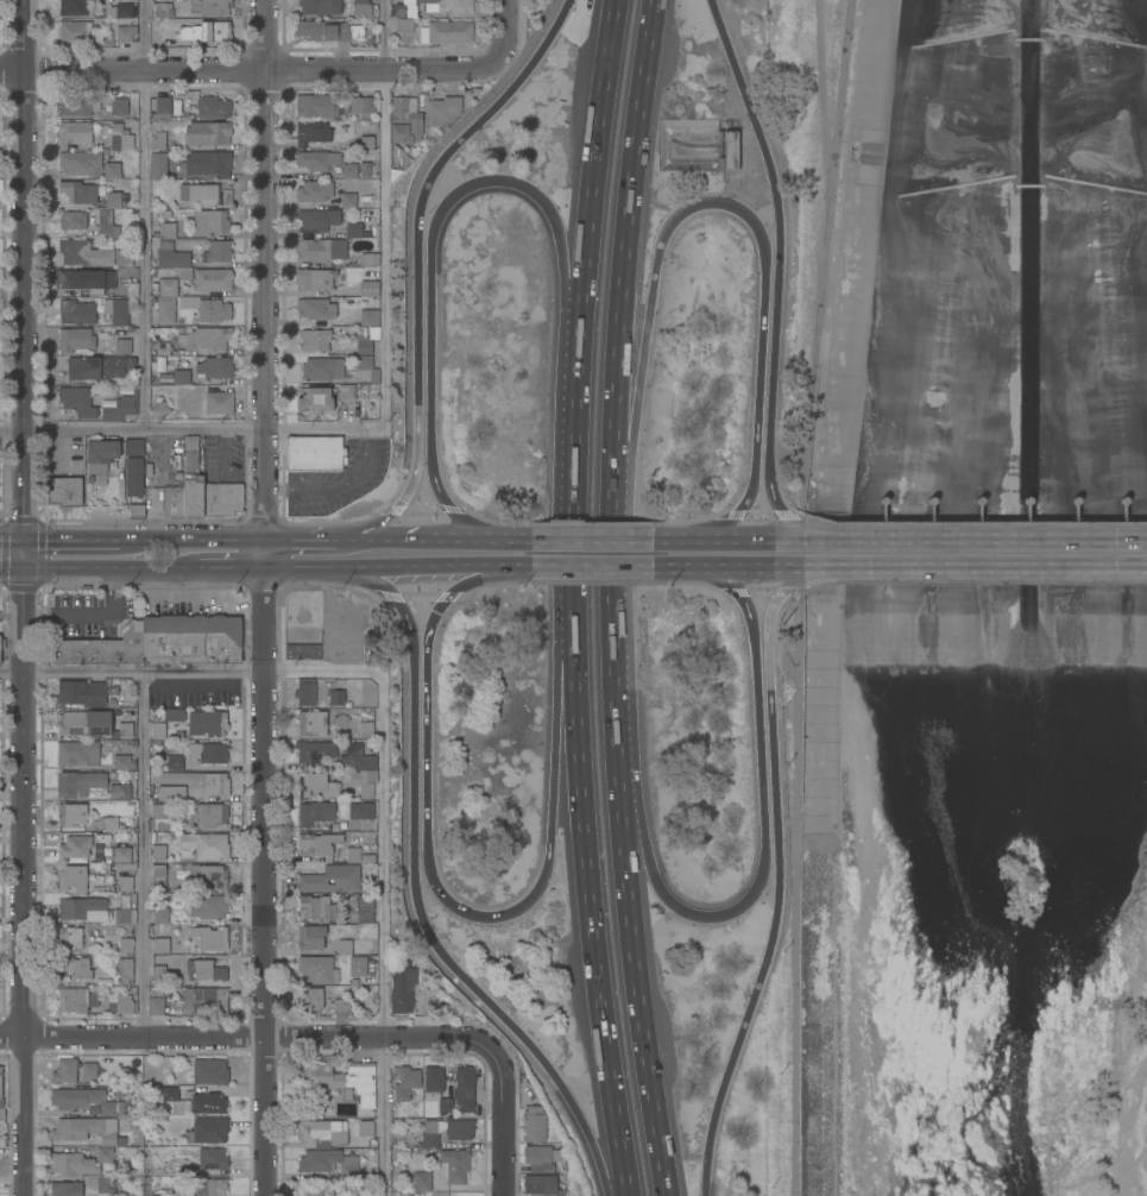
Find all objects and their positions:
building: (74, 6)
building: (204, 6)
building: (319, 6)
building: (427, 6)
building: (361, 7)
building: (160, 8)
building: (119, 10)
building: (403, 25)
road: (504, 27)
building: (328, 30)
building: (207, 31)
building: (446, 31)
building: (78, 32)
building: (124, 33)
road: (251, 71)
building: (77, 103)
building: (320, 105)
building: (119, 106)
building: (212, 106)
building: (363, 106)
building: (160, 108)
building: (442, 109)
building: (405, 120)
building: (207, 132)
building: (310, 132)
building: (73, 133)
building: (121, 138)
building: (157, 140)
road: (598, 140)
building: (366, 141)
building: (731, 149)
building: (316, 159)
building: (397, 160)
building: (80, 162)
building: (207, 163)
building: (158, 165)
building: (112, 170)
building: (347, 170)
building: (365, 170)
building: (313, 190)
building: (80, 191)
building: (204, 194)
building: (113, 199)
building: (348, 200)
road: (140, 215)
road: (383, 215)
building: (73, 220)
building: (316, 220)
road: (626, 220)
building: (209, 221)
building: (106, 224)
building: (168, 229)
building: (353, 229)
building: (321, 248)
building: (216, 251)
building: (83, 252)
road: (782, 253)
building: (171, 254)
building: (124, 258)
building: (368, 259)
road: (415, 265)
road: (264, 270)
building: (212, 278)
building: (315, 278)
road: (430, 278)
building: (84, 279)
building: (166, 287)
building: (367, 289)
road: (762, 295)
building: (208, 308)
building: (314, 308)
building: (164, 309)
building: (76, 311)
building: (114, 311)
building: (368, 316)
building: (213, 338)
building: (75, 339)
building: (314, 339)
building: (366, 340)
building: (121, 346)
building: (163, 348)
building: (99, 367)
building: (214, 367)
building: (366, 367)
building: (321, 369)
road: (630, 372)
building: (181, 377)
building: (346, 391)
building: (314, 399)
building: (77, 401)
building: (219, 402)
building: (120, 408)
building: (159, 410)
road: (191, 430)
building: (132, 446)
building: (314, 453)
building: (100, 454)
road: (574, 470)
building: (133, 477)
building: (193, 478)
road: (336, 486)
building: (63, 491)
building: (221, 498)
building: (172, 501)
traffic signals: (19, 510)
building: (136, 511)
road: (21, 521)
road: (799, 529)
road: (10, 539)
traffic signals: (49, 539)
road: (69, 539)
road: (191, 539)
road: (300, 540)
road: (382, 540)
road: (452, 540)
road: (683, 540)
road: (503, 541)
road: (592, 541)
road: (744, 541)
road: (794, 542)
road: (981, 542)
road: (261, 553)
road: (2, 555)
road: (40, 555)
road: (591, 562)
road: (685, 562)
road: (745, 562)
road: (792, 562)
road: (978, 562)
road: (504, 564)
road: (424, 565)
road: (10, 566)
road: (108, 566)
road: (229, 566)
road: (315, 566)
road: (795, 577)
road: (20, 591)
traffic signals: (19, 597)
road: (803, 597)
road: (19, 598)
river: (1025, 598)
road: (88, 613)
building: (190, 638)
building: (2, 643)
road: (616, 644)
building: (100, 648)
building: (301, 651)
building: (305, 691)
building: (84, 692)
building: (335, 697)
building: (174, 715)
building: (311, 722)
building: (93, 723)
building: (206, 723)
building: (365, 729)
building: (165, 730)
road: (379, 742)
road: (563, 743)
building: (314, 750)
building: (206, 751)
building: (81, 753)
building: (358, 757)
building: (121, 762)
building: (170, 762)
building: (196, 781)
building: (363, 781)
building: (78, 782)
building: (316, 783)
road: (760, 786)
building: (119, 791)
building: (170, 793)
road: (426, 808)
building: (363, 812)
building: (70, 813)
building: (315, 813)
building: (210, 814)
building: (160, 817)
building: (111, 824)
building: (206, 845)
building: (75, 846)
building: (335, 846)
road: (141, 849)
building: (158, 851)
building: (121, 854)
road: (636, 861)
building: (204, 874)
building: (71, 876)
building: (328, 876)
road: (414, 876)
building: (158, 877)
road: (259, 881)
building: (125, 883)
road: (775, 896)
building: (363, 906)
building: (207, 907)
building: (316, 907)
building: (83, 908)
building: (124, 915)
building: (160, 915)
road: (597, 927)
building: (310, 937)
building: (69, 938)
building: (209, 938)
building: (125, 944)
building: (160, 945)
building: (344, 948)
building: (75, 967)
building: (358, 967)
building: (317, 969)
building: (203, 971)
building: (158, 972)
building: (116, 974)
building: (402, 990)
building: (71, 1000)
building: (191, 1001)
building: (319, 1001)
building: (121, 1005)
road: (644, 1020)
road: (242, 1030)
building: (130, 1066)
building: (64, 1070)
building: (89, 1070)
building: (209, 1071)
building: (341, 1079)
building: (433, 1079)
building: (464, 1089)
building: (405, 1094)
building: (75, 1096)
building: (1, 1099)
building: (175, 1100)
building: (208, 1103)
building: (111, 1107)
building: (445, 1108)
road: (500, 1116)
building: (534, 1122)
building: (365, 1128)
building: (81, 1129)
building: (209, 1129)
building: (460, 1129)
building: (323, 1132)
building: (430, 1133)
building: (541, 1157)
building: (212, 1158)
building: (83, 1162)
building: (324, 1162)
building: (454, 1165)
road: (598, 1167)
building: (422, 1182)
building: (109, 1184)
building: (542, 1185)
building: (210, 1186)
building: (67, 1188)
building: (314, 1190)
building: (176, 1194)

